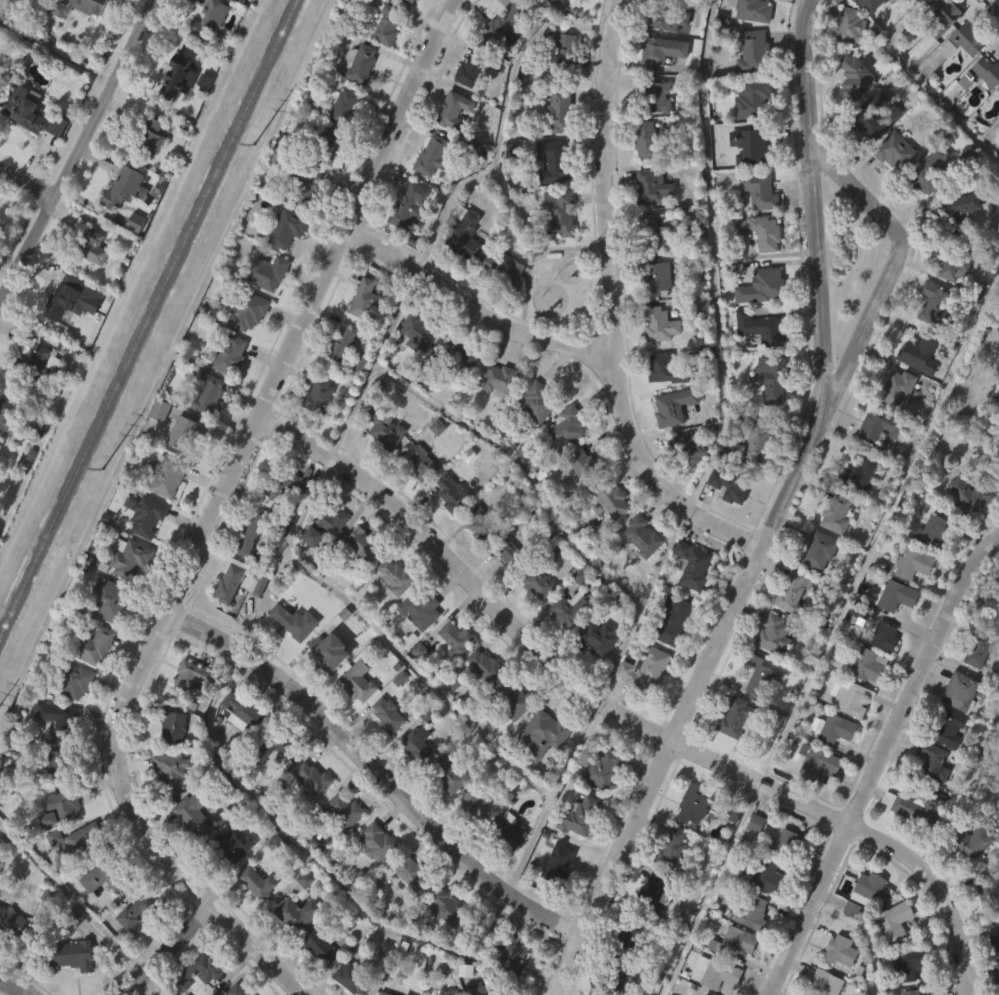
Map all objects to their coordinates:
building: (428, 0)
building: (535, 0)
building: (409, 2)
building: (559, 4)
building: (698, 4)
building: (772, 4)
building: (41, 5)
building: (872, 5)
building: (82, 6)
building: (923, 6)
building: (229, 7)
building: (755, 10)
building: (949, 11)
building: (668, 19)
building: (208, 20)
building: (548, 25)
building: (391, 26)
building: (851, 26)
building: (871, 26)
building: (504, 29)
building: (81, 32)
building: (964, 42)
building: (942, 43)
building: (564, 48)
building: (662, 50)
building: (754, 52)
building: (202, 57)
building: (383, 59)
building: (499, 61)
building: (846, 61)
building: (361, 64)
building: (471, 68)
building: (964, 73)
building: (987, 73)
building: (857, 75)
building: (177, 77)
building: (557, 82)
building: (658, 83)
road: (923, 83)
building: (749, 85)
building: (656, 95)
building: (357, 96)
building: (757, 98)
building: (465, 104)
building: (984, 105)
building: (343, 106)
building: (454, 111)
building: (563, 111)
building: (849, 111)
building: (24, 114)
building: (872, 115)
road: (502, 124)
building: (997, 125)
building: (653, 131)
building: (148, 138)
building: (338, 139)
building: (646, 139)
building: (756, 143)
building: (450, 144)
building: (27, 146)
power tower: (255, 146)
building: (326, 146)
building: (869, 149)
building: (997, 149)
road: (77, 150)
building: (896, 151)
building: (433, 156)
building: (970, 158)
building: (557, 161)
building: (147, 171)
building: (326, 172)
building: (641, 172)
building: (930, 172)
road: (606, 175)
building: (745, 179)
road: (27, 184)
building: (505, 184)
building: (890, 184)
building: (301, 185)
building: (654, 187)
building: (428, 188)
building: (124, 189)
building: (762, 191)
building: (550, 194)
building: (409, 205)
building: (924, 205)
building: (560, 213)
building: (956, 214)
building: (648, 220)
building: (122, 222)
building: (290, 228)
building: (654, 233)
building: (465, 234)
building: (758, 234)
building: (406, 237)
road: (535, 239)
building: (953, 245)
building: (92, 247)
building: (555, 247)
building: (131, 255)
road: (714, 257)
building: (284, 261)
road: (892, 262)
building: (460, 265)
building: (954, 265)
building: (754, 267)
building: (504, 271)
building: (268, 273)
building: (658, 276)
building: (89, 280)
building: (760, 286)
building: (949, 299)
building: (64, 300)
building: (500, 303)
building: (935, 303)
building: (266, 307)
road: (476, 307)
building: (652, 311)
building: (249, 312)
railway: (148, 316)
building: (660, 325)
building: (762, 329)
building: (69, 331)
building: (419, 331)
building: (359, 332)
building: (931, 338)
building: (697, 339)
building: (246, 345)
building: (339, 347)
building: (921, 352)
building: (230, 353)
building: (459, 358)
building: (36, 360)
building: (756, 360)
road: (285, 362)
road: (375, 363)
building: (414, 366)
building: (668, 369)
building: (772, 377)
building: (336, 378)
building: (501, 379)
building: (916, 387)
building: (456, 388)
building: (898, 388)
building: (227, 389)
building: (208, 393)
building: (35, 395)
building: (318, 395)
building: (355, 397)
building: (538, 400)
building: (674, 406)
building: (159, 409)
building: (767, 412)
building: (494, 413)
building: (8, 416)
building: (892, 422)
building: (568, 426)
building: (385, 427)
building: (206, 428)
building: (315, 429)
building: (184, 432)
building: (532, 436)
building: (758, 437)
building: (670, 439)
building: (155, 443)
building: (6, 446)
building: (688, 447)
building: (876, 460)
building: (380, 461)
building: (562, 461)
building: (421, 463)
building: (585, 463)
building: (181, 465)
road: (522, 469)
power tower: (103, 473)
building: (753, 473)
building: (858, 475)
building: (167, 476)
road: (651, 477)
building: (685, 481)
building: (286, 484)
building: (731, 484)
building: (453, 492)
building: (972, 495)
building: (416, 497)
building: (578, 497)
building: (612, 498)
building: (856, 507)
building: (162, 512)
building: (837, 513)
building: (147, 515)
road: (778, 516)
building: (281, 519)
building: (338, 520)
building: (725, 521)
building: (484, 523)
building: (447, 525)
building: (965, 529)
building: (607, 532)
building: (934, 532)
building: (643, 536)
building: (254, 538)
building: (362, 544)
building: (142, 548)
building: (820, 550)
building: (511, 554)
building: (477, 556)
building: (129, 557)
building: (321, 557)
building: (913, 563)
building: (694, 564)
building: (928, 564)
building: (247, 569)
building: (637, 569)
building: (399, 577)
building: (359, 578)
building: (579, 578)
building: (231, 580)
building: (256, 582)
building: (539, 583)
building: (501, 584)
building: (814, 584)
building: (793, 590)
building: (125, 591)
building: (898, 595)
building: (687, 600)
road: (642, 603)
building: (112, 605)
building: (571, 608)
building: (390, 609)
building: (858, 610)
building: (421, 611)
building: (252, 616)
building: (533, 616)
building: (225, 617)
building: (673, 620)
building: (294, 621)
building: (788, 623)
building: (774, 634)
road: (831, 634)
road: (382, 635)
building: (885, 636)
building: (598, 638)
building: (454, 639)
building: (566, 642)
building: (416, 643)
road: (535, 645)
building: (98, 646)
building: (979, 647)
building: (326, 650)
building: (668, 653)
building: (294, 658)
building: (869, 664)
building: (484, 665)
building: (653, 668)
building: (594, 670)
building: (450, 672)
building: (194, 676)
building: (761, 676)
building: (73, 679)
building: (92, 679)
building: (415, 683)
building: (324, 685)
building: (358, 685)
building: (961, 691)
building: (864, 698)
building: (480, 699)
building: (513, 701)
building: (640, 701)
building: (189, 709)
building: (756, 709)
building: (244, 713)
building: (71, 714)
building: (354, 714)
building: (388, 716)
building: (737, 718)
building: (58, 719)
building: (172, 724)
building: (949, 725)
building: (836, 728)
building: (546, 731)
building: (417, 744)
building: (237, 745)
building: (273, 745)
building: (384, 748)
building: (730, 749)
road: (879, 755)
building: (934, 761)
building: (544, 762)
building: (819, 762)
building: (64, 763)
building: (604, 768)
building: (171, 769)
road: (376, 769)
building: (448, 775)
building: (412, 776)
building: (313, 778)
building: (271, 780)
building: (928, 795)
building: (50, 796)
road: (552, 796)
building: (816, 798)
building: (599, 801)
building: (697, 802)
building: (167, 804)
building: (478, 805)
building: (61, 807)
building: (443, 807)
building: (915, 808)
building: (309, 811)
building: (341, 811)
building: (193, 814)
building: (579, 816)
building: (511, 831)
building: (472, 838)
building: (689, 838)
building: (87, 839)
building: (786, 840)
building: (967, 840)
building: (57, 841)
building: (907, 841)
building: (378, 842)
building: (339, 843)
building: (189, 847)
building: (230, 848)
building: (671, 848)
building: (575, 849)
building: (751, 856)
building: (505, 864)
building: (558, 864)
building: (51, 870)
building: (410, 871)
building: (78, 872)
building: (104, 875)
road: (186, 876)
building: (373, 876)
building: (963, 876)
building: (272, 877)
building: (769, 878)
building: (227, 882)
building: (256, 883)
building: (666, 884)
road: (937, 888)
building: (868, 889)
building: (654, 891)
building: (989, 893)
building: (554, 896)
road: (72, 897)
building: (407, 906)
building: (448, 908)
building: (99, 910)
building: (141, 912)
building: (756, 913)
building: (298, 914)
building: (253, 915)
building: (985, 919)
building: (896, 920)
building: (863, 921)
building: (650, 924)
building: (15, 925)
building: (633, 930)
road: (868, 933)
building: (443, 941)
building: (737, 942)
building: (995, 942)
building: (133, 943)
building: (322, 946)
building: (293, 947)
road: (167, 949)
building: (841, 951)
building: (75, 954)
building: (890, 954)
building: (510, 956)
building: (13, 957)
building: (910, 964)
building: (199, 972)
building: (718, 972)
building: (619, 973)
building: (997, 974)
building: (353, 979)
building: (317, 980)
building: (827, 982)
road: (155, 983)
building: (382, 983)
building: (507, 984)
building: (65, 985)
road: (15, 987)
building: (483, 988)
building: (201, 990)
building: (235, 990)
building: (450, 992)
building: (912, 992)
building: (384, 993)
building: (341, 994)
building: (405, 994)
building: (611, 994)
building: (707, 994)
building: (994, 994)

